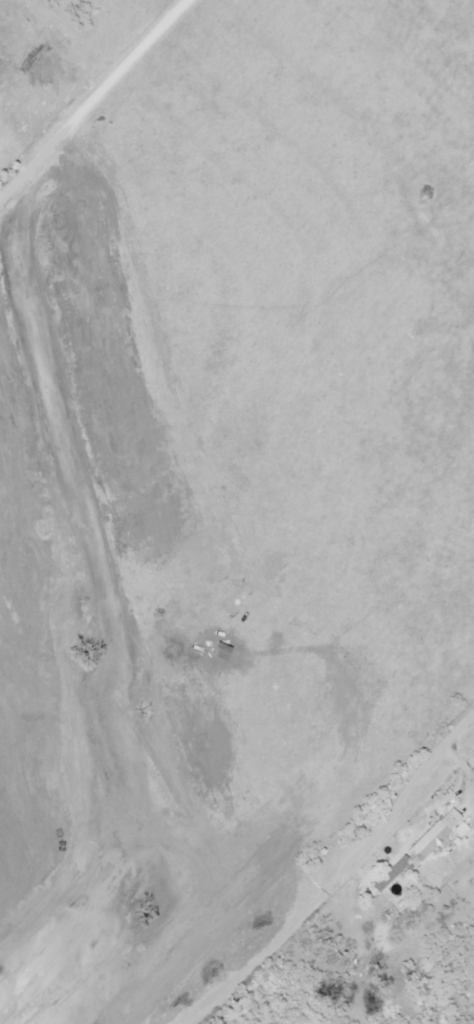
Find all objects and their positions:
road: (94, 96)
building: (471, 768)
building: (430, 842)
building: (392, 874)
road: (337, 884)

